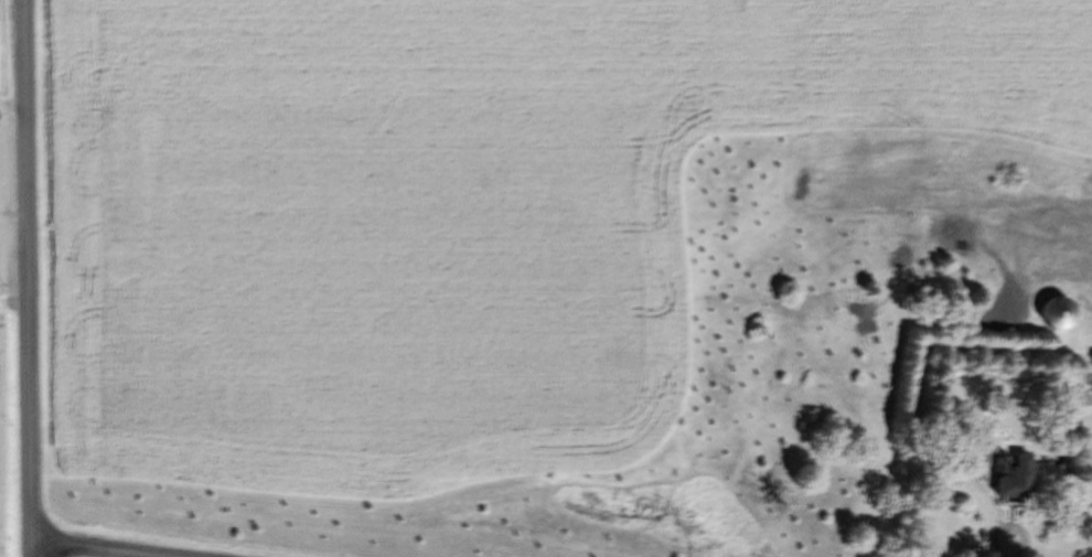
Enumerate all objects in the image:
building: (1032, 268)
road: (31, 270)
building: (1050, 313)
building: (1005, 478)
road: (28, 549)
road: (93, 549)

